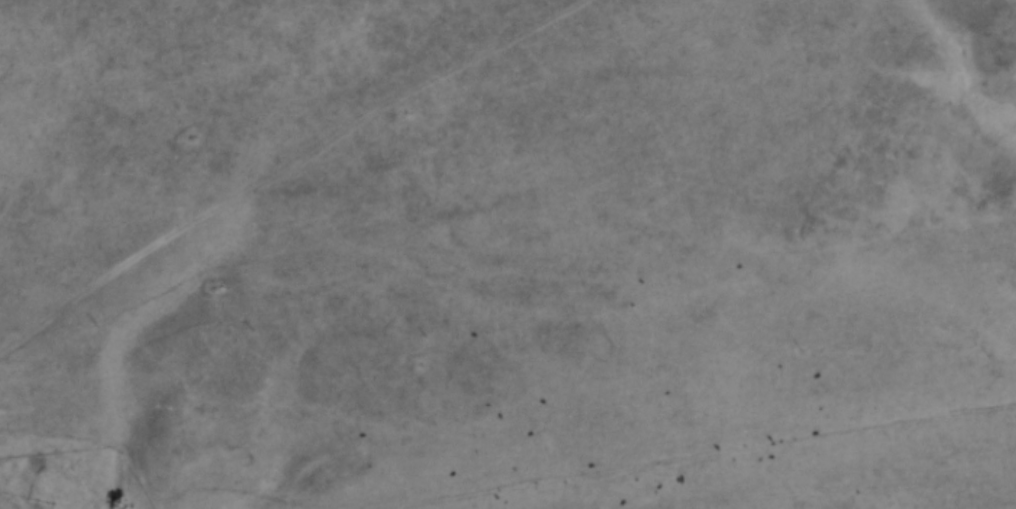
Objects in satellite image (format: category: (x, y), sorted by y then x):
road: (279, 168)

